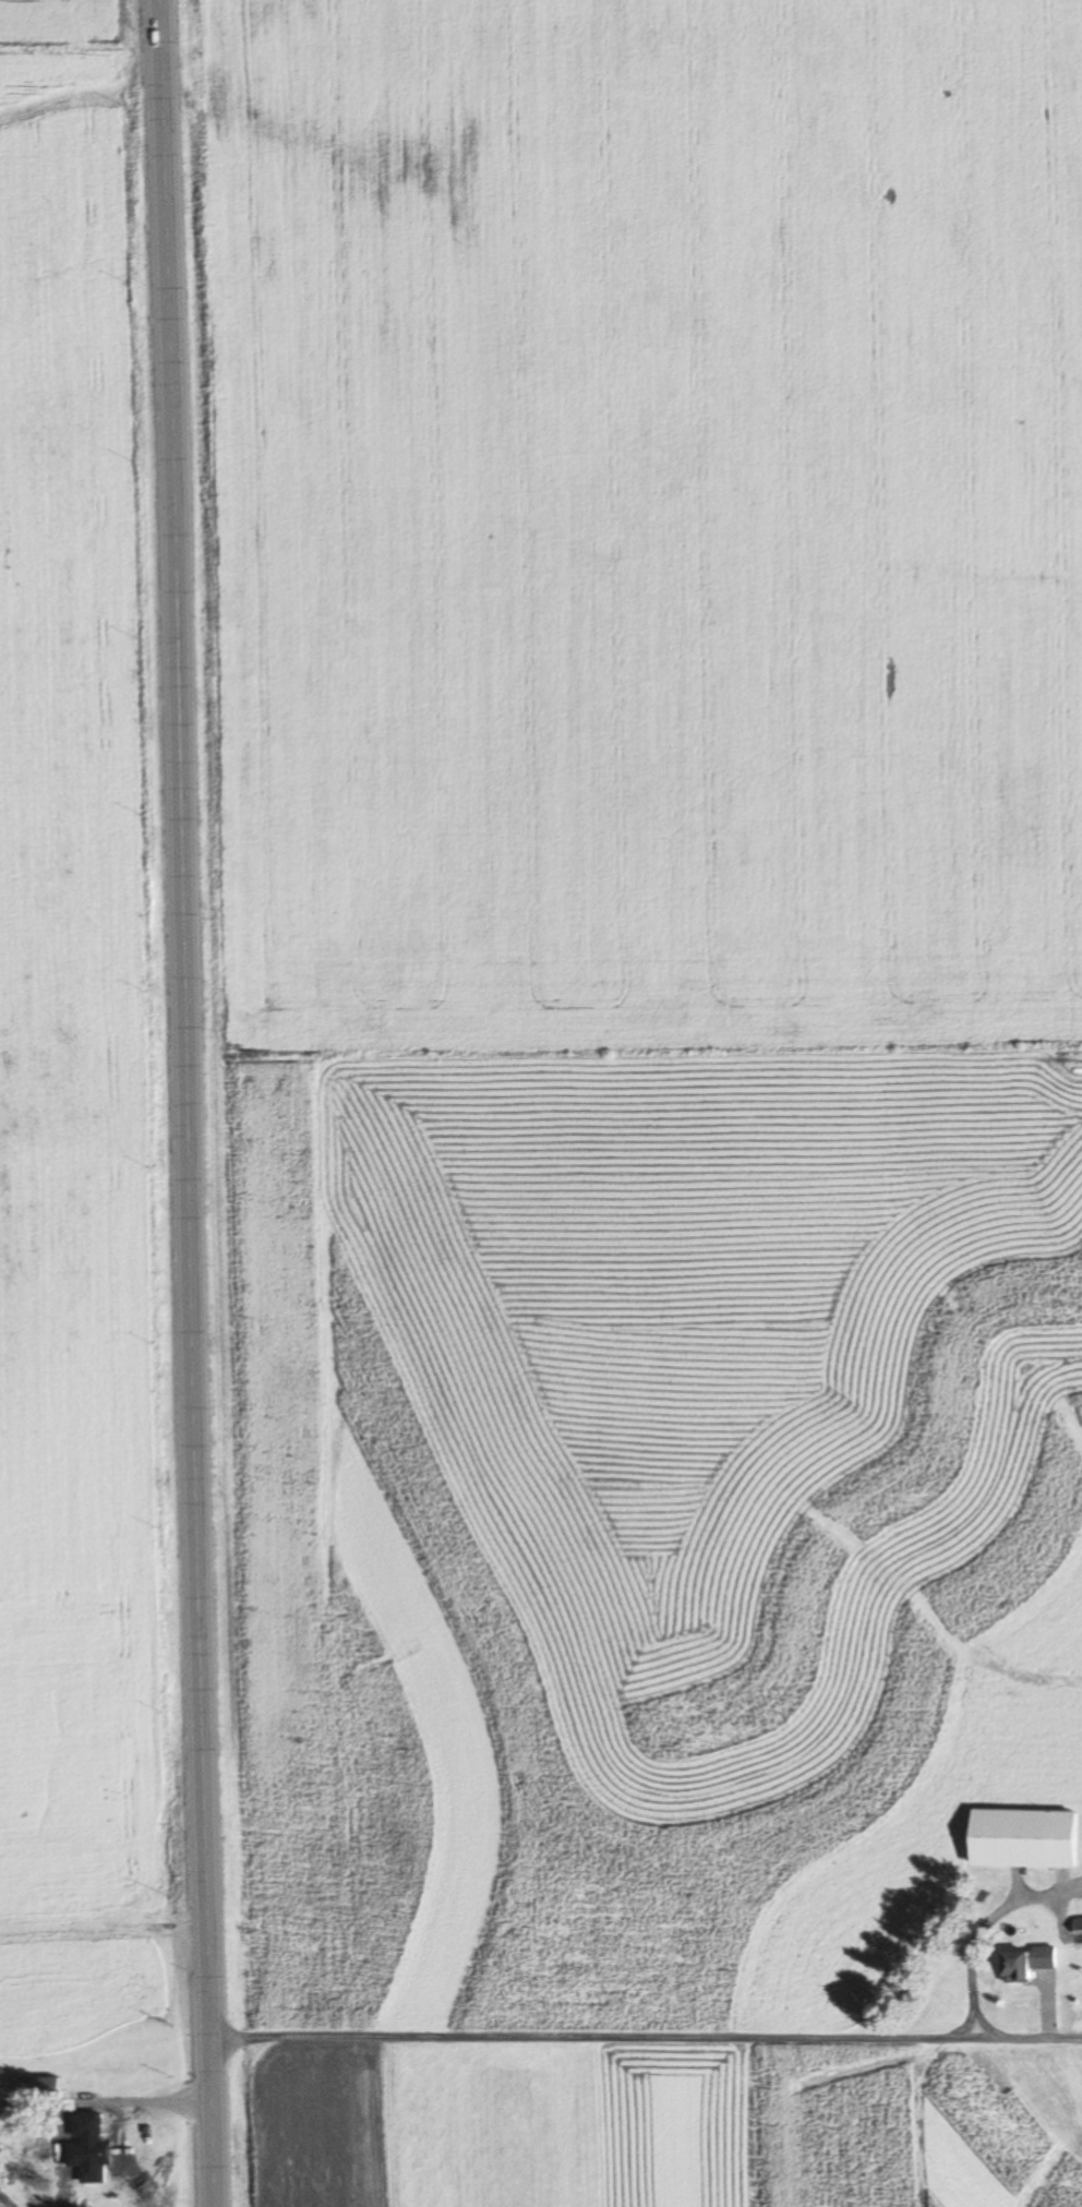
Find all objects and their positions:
building: (168, 168)
road: (183, 1103)
building: (1024, 1837)
building: (1079, 1924)
building: (1025, 1963)
road: (698, 2036)
road: (988, 2036)
road: (1037, 2036)
building: (37, 2087)
road: (140, 2092)
building: (93, 2152)

